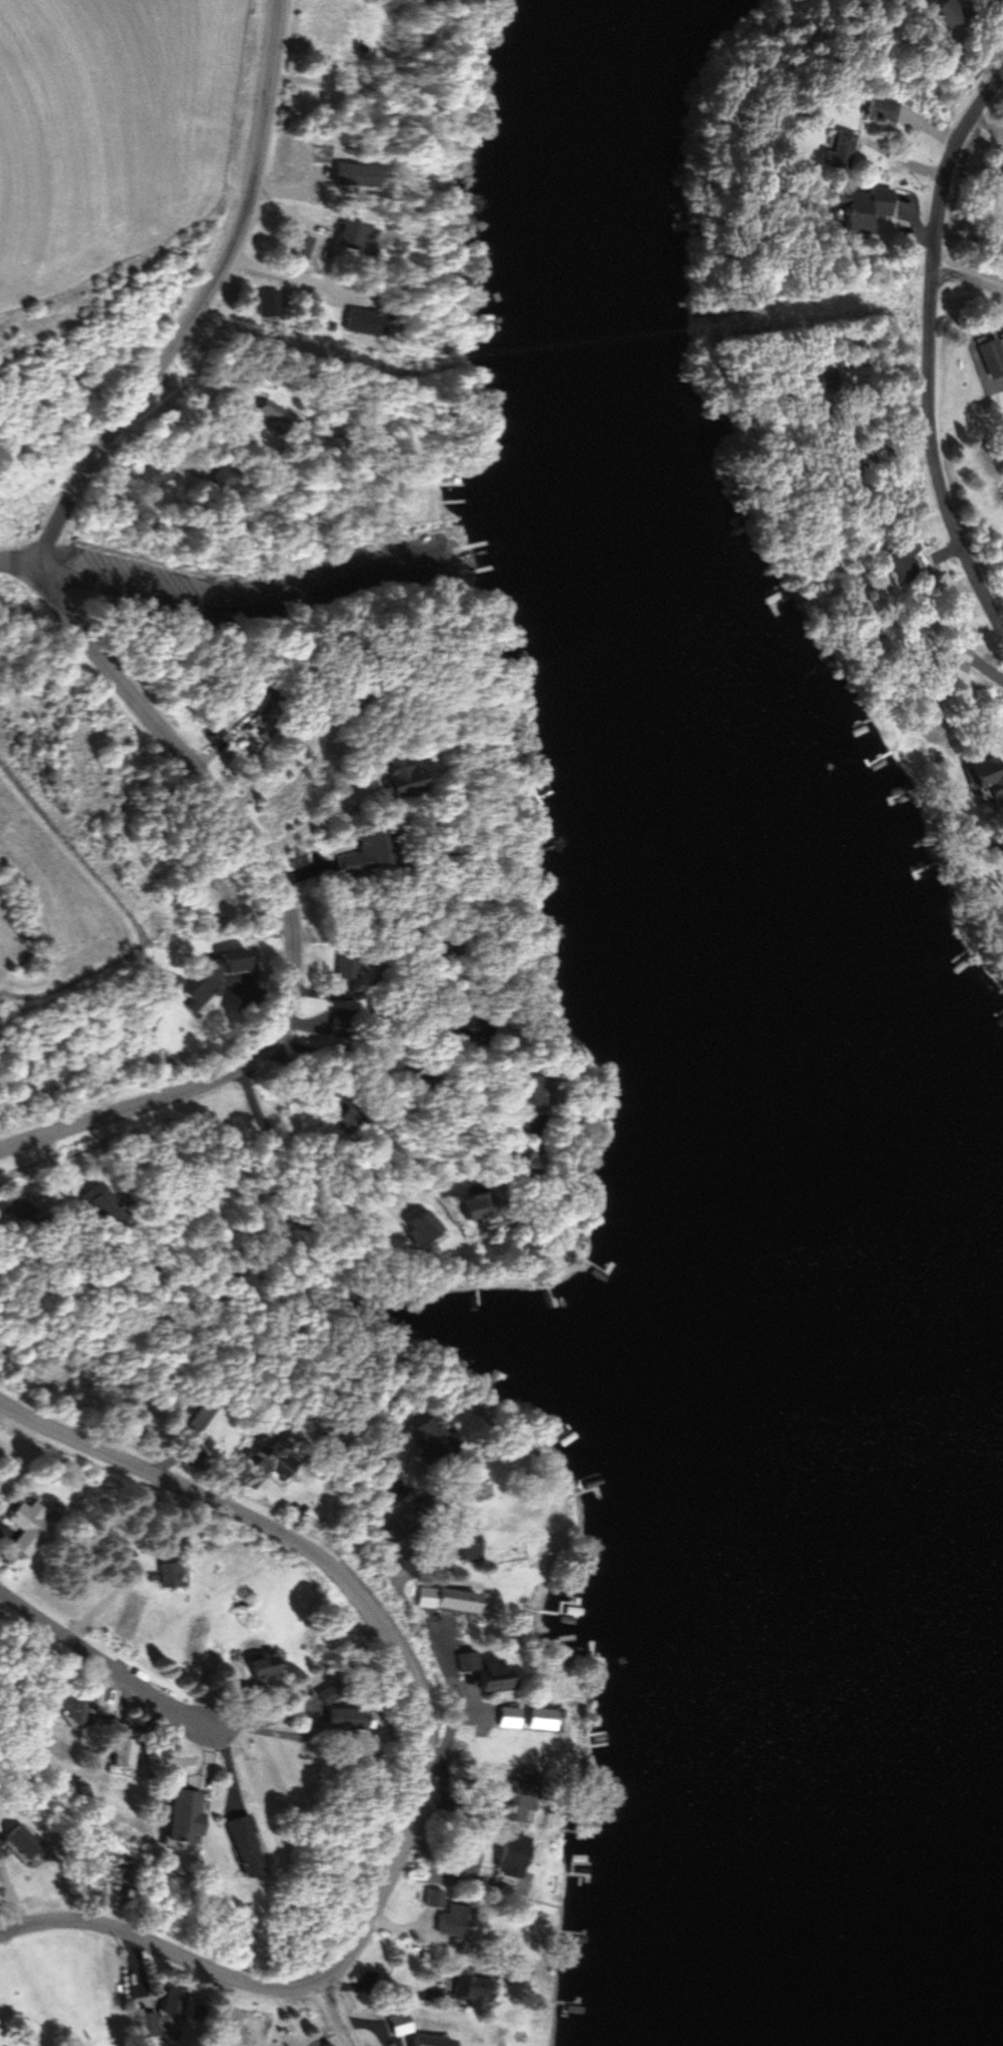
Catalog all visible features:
building: (993, 2)
building: (943, 11)
building: (878, 109)
building: (838, 149)
building: (861, 208)
building: (350, 234)
road: (969, 279)
road: (204, 301)
building: (271, 307)
building: (365, 320)
road: (930, 349)
building: (992, 356)
building: (253, 405)
building: (1002, 446)
building: (223, 477)
building: (888, 569)
road: (236, 598)
building: (989, 775)
building: (399, 777)
building: (367, 854)
road: (288, 909)
building: (234, 960)
building: (348, 964)
building: (201, 989)
building: (468, 1027)
building: (344, 1028)
building: (344, 1115)
building: (106, 1206)
building: (475, 1206)
building: (419, 1228)
building: (496, 1380)
building: (199, 1418)
building: (431, 1439)
building: (561, 1442)
building: (267, 1463)
building: (28, 1528)
building: (165, 1575)
building: (449, 1600)
road: (95, 1658)
building: (264, 1666)
building: (491, 1675)
building: (76, 1715)
building: (505, 1717)
building: (344, 1720)
building: (536, 1720)
building: (124, 1754)
road: (427, 1758)
building: (521, 1792)
building: (245, 1849)
building: (509, 1861)
building: (456, 1921)
building: (468, 1986)
building: (163, 2011)
road: (337, 2014)
building: (397, 2022)
building: (428, 2040)

